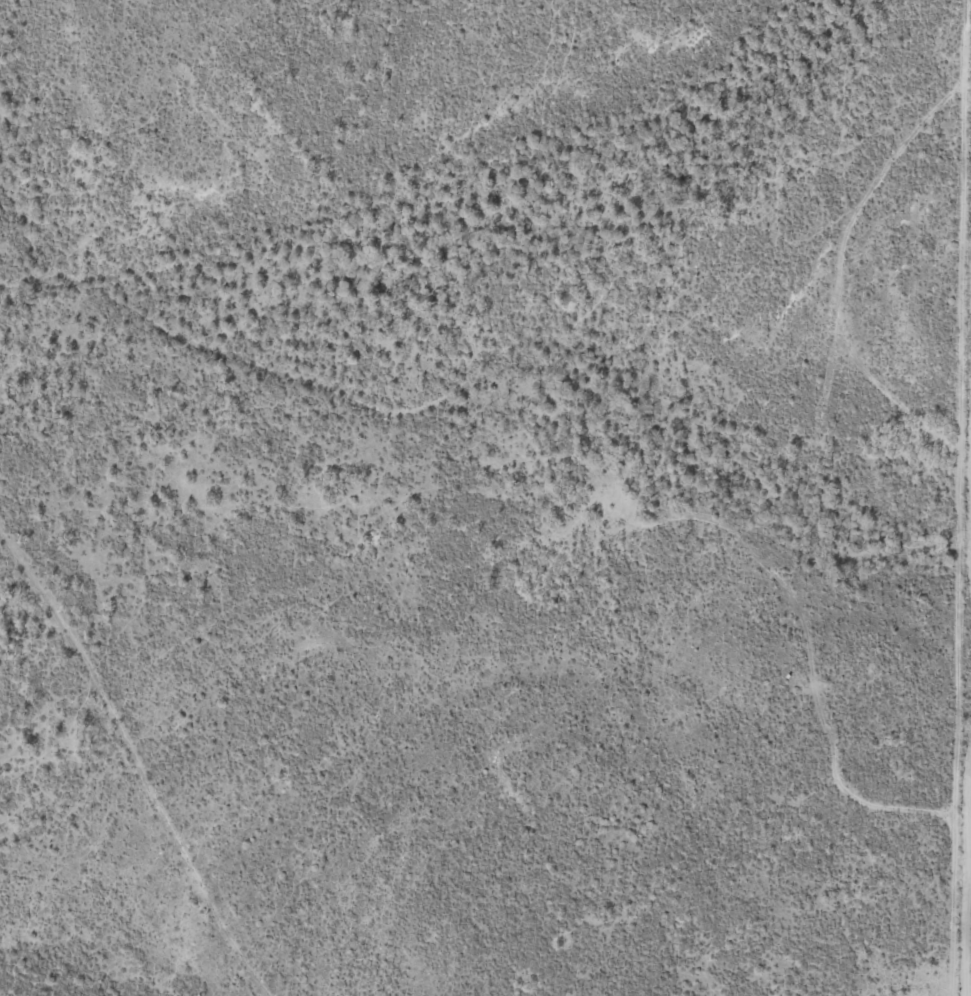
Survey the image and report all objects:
road: (142, 760)

